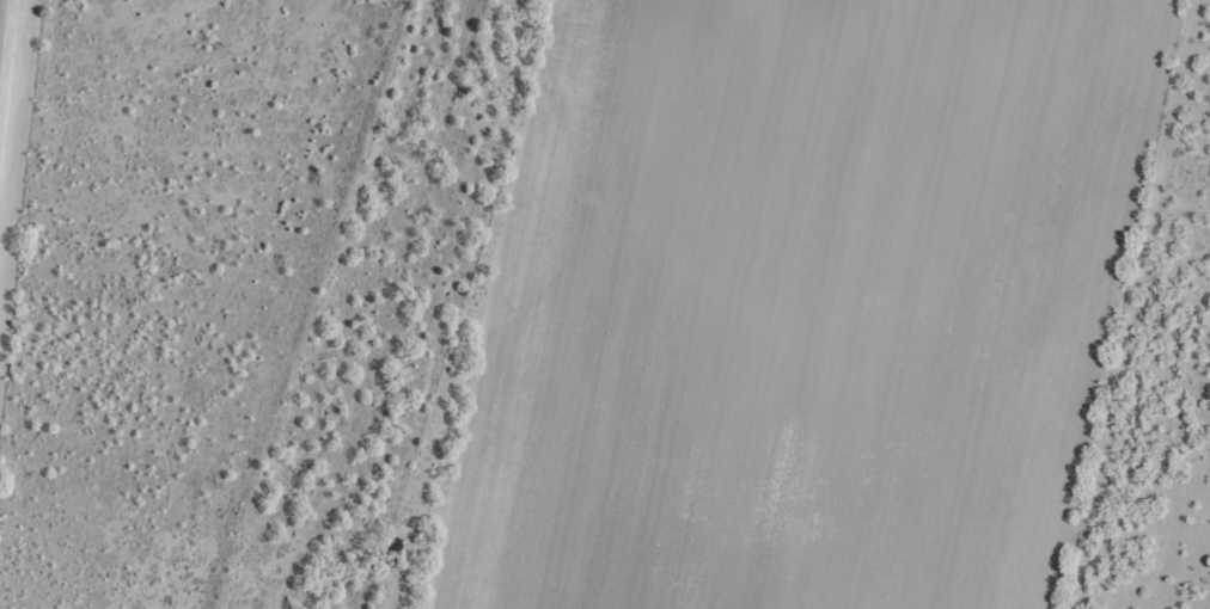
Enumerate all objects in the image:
railway: (331, 304)

